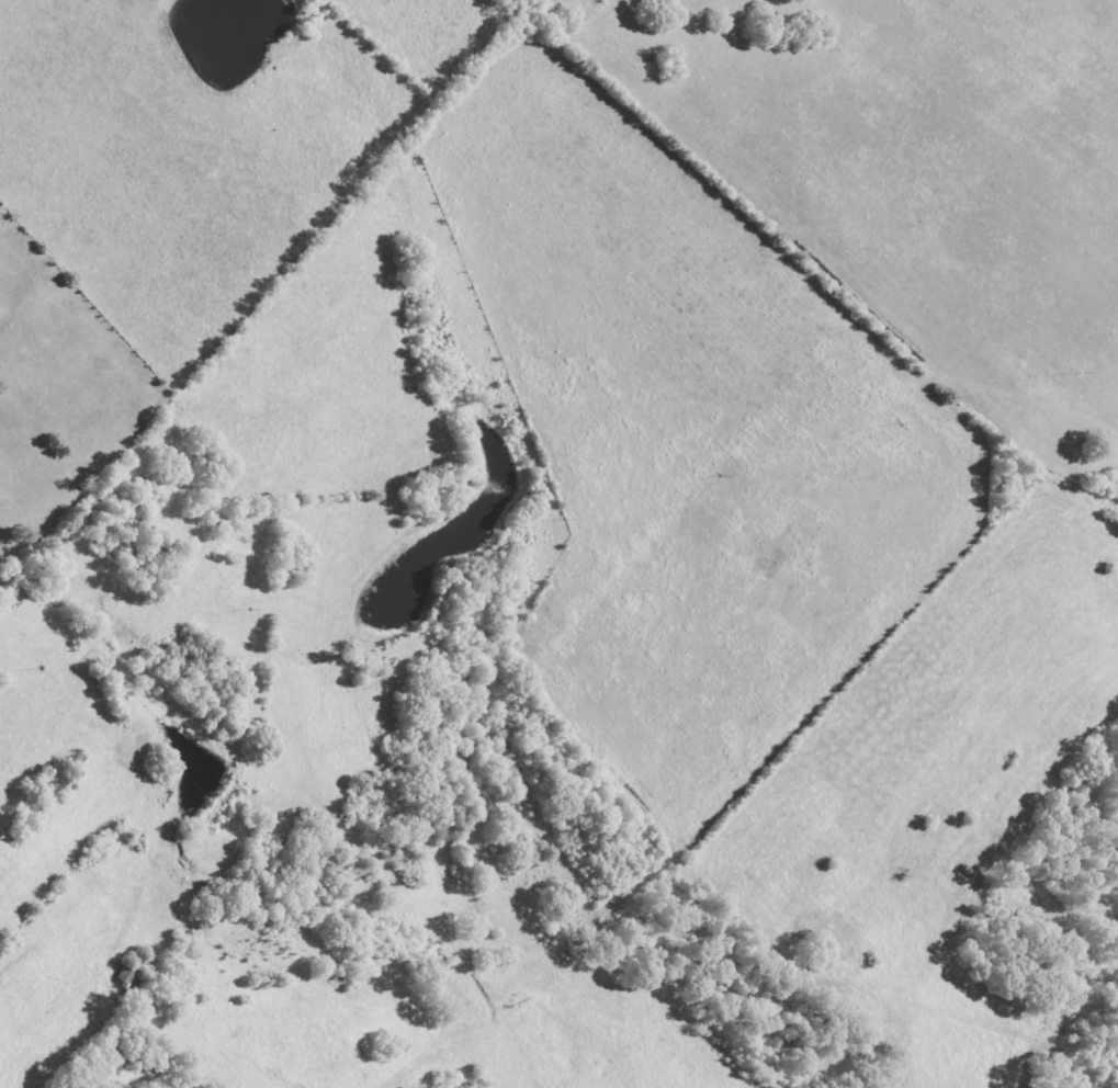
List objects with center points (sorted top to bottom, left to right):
road: (75, 605)

